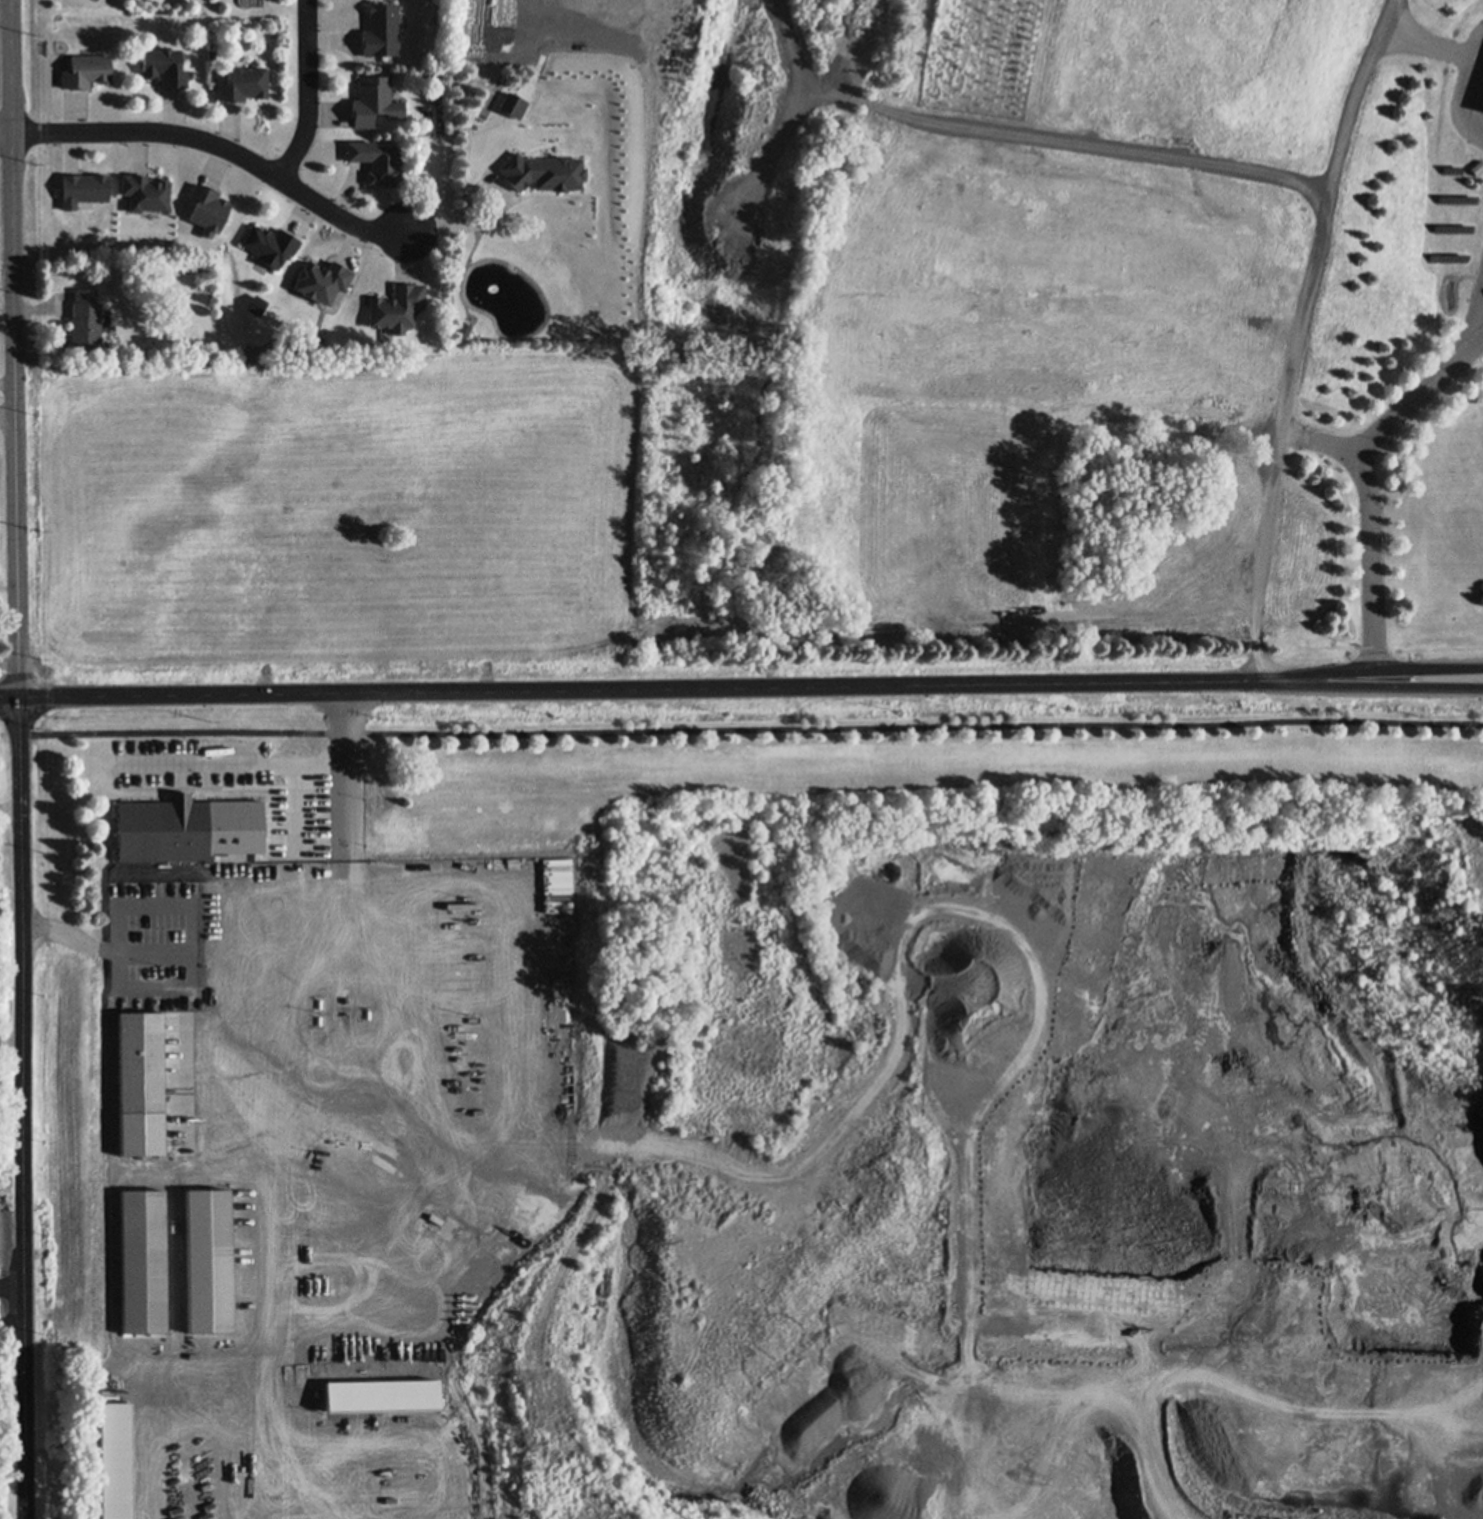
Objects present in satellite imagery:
building: (402, 22)
building: (383, 31)
road: (1431, 45)
building: (211, 54)
building: (164, 67)
building: (85, 70)
building: (244, 83)
road: (309, 94)
building: (396, 96)
road: (1469, 97)
building: (374, 101)
building: (516, 104)
building: (431, 108)
building: (525, 110)
building: (512, 123)
road: (14, 130)
road: (215, 144)
building: (572, 144)
building: (378, 161)
building: (543, 172)
building: (84, 188)
building: (146, 193)
building: (208, 208)
solar farm: (1455, 215)
road: (460, 220)
building: (271, 245)
building: (323, 281)
building: (257, 304)
building: (397, 307)
landfill: (958, 313)
building: (85, 318)
road: (1480, 322)
road: (1294, 334)
building: (341, 343)
road: (8, 382)
road: (8, 412)
road: (1322, 444)
road: (1366, 481)
crop: (336, 521)
road: (1428, 669)
road: (1428, 685)
road: (696, 687)
road: (9, 694)
road: (751, 728)
road: (238, 765)
road: (295, 807)
road: (351, 813)
building: (165, 832)
road: (20, 889)
road: (189, 950)
building: (140, 1062)
quarry: (761, 1106)
building: (141, 1133)
road: (835, 1142)
building: (341, 1150)
building: (142, 1261)
building: (209, 1263)
road: (11, 1286)
road: (12, 1310)
building: (390, 1404)
building: (120, 1462)
road: (1057, 1514)

